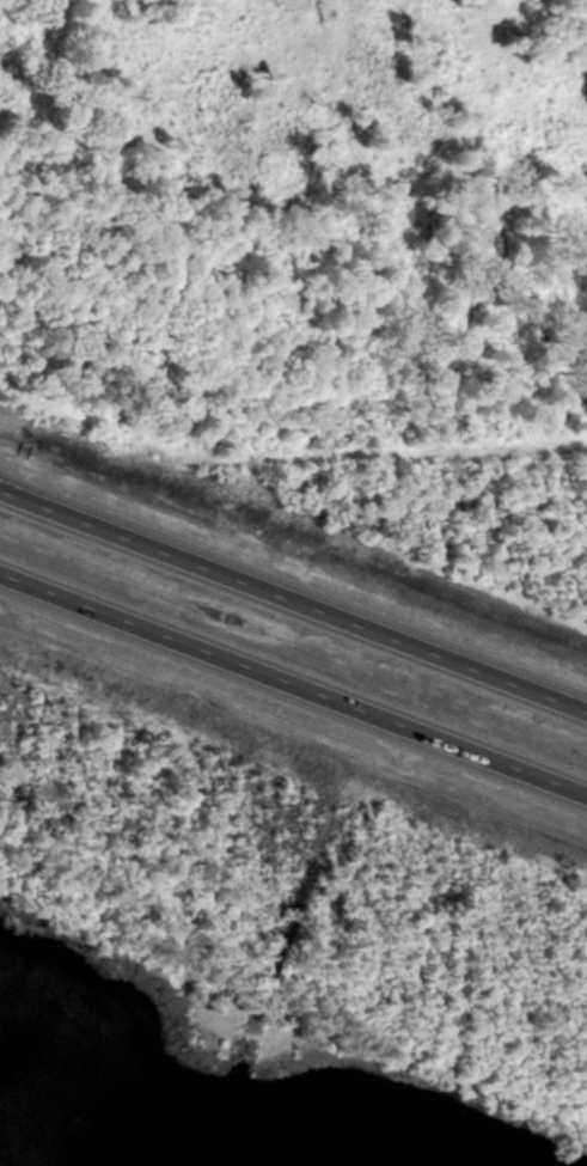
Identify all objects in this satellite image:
road: (293, 599)
road: (293, 686)

